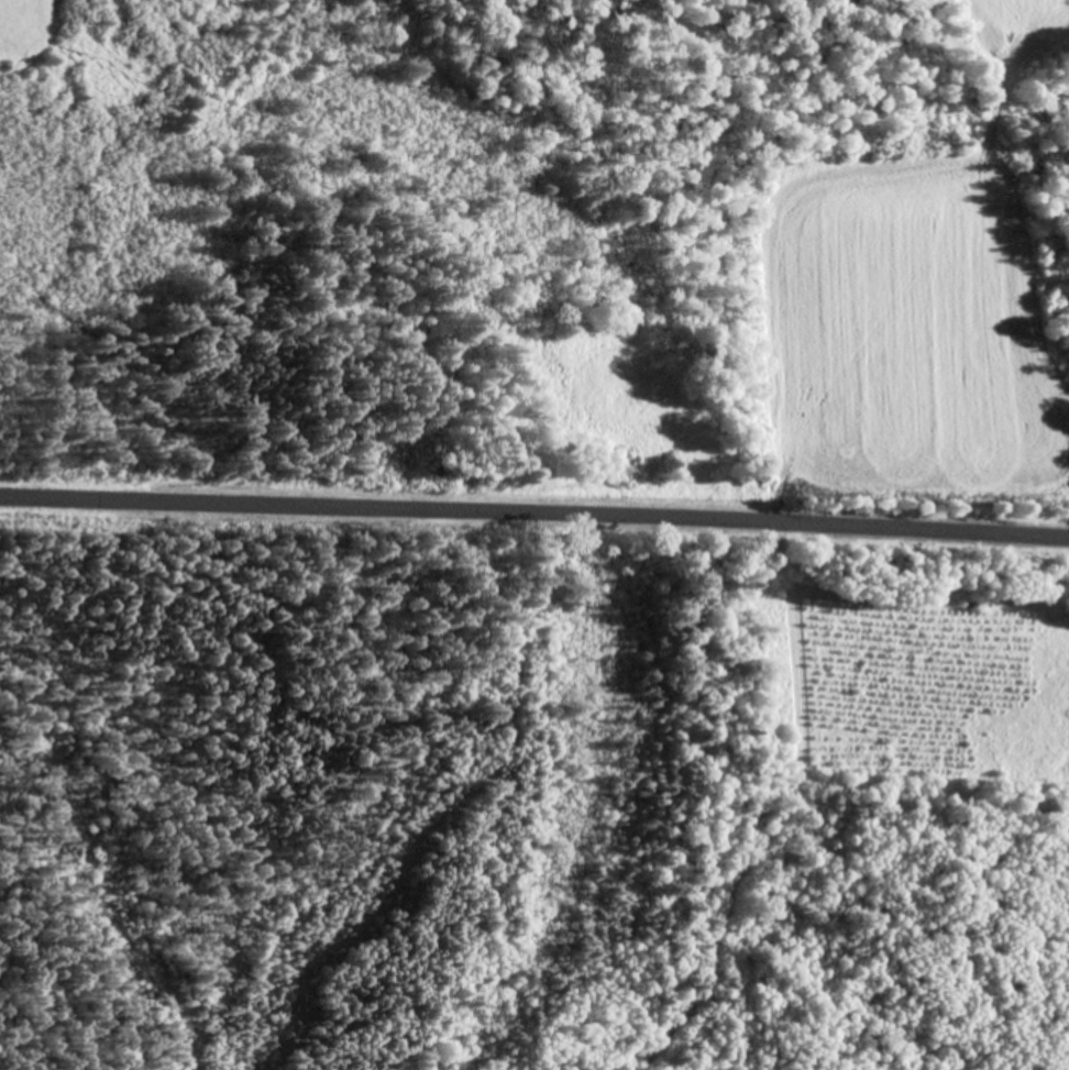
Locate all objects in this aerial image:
road: (534, 522)

